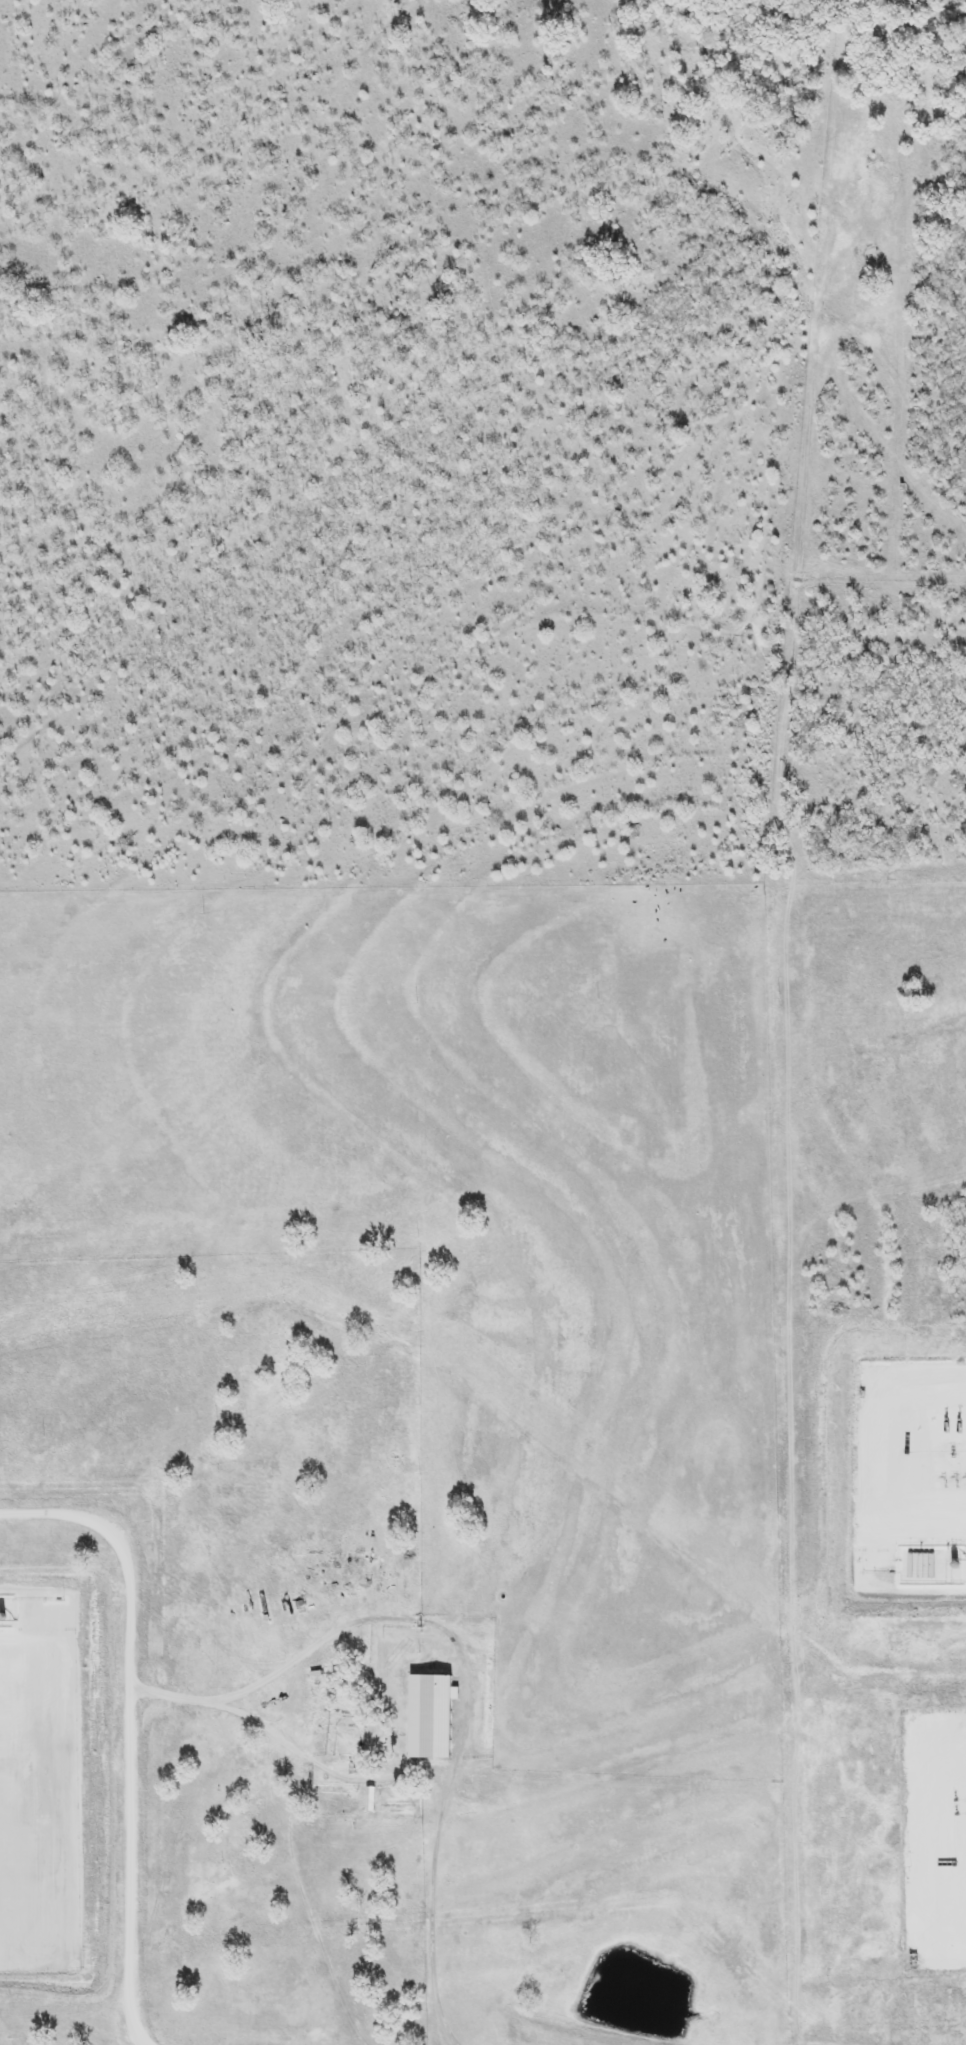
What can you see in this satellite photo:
road: (293, 1655)
road: (465, 1674)
road: (166, 1692)
building: (431, 1714)
road: (126, 1730)
road: (430, 1921)

